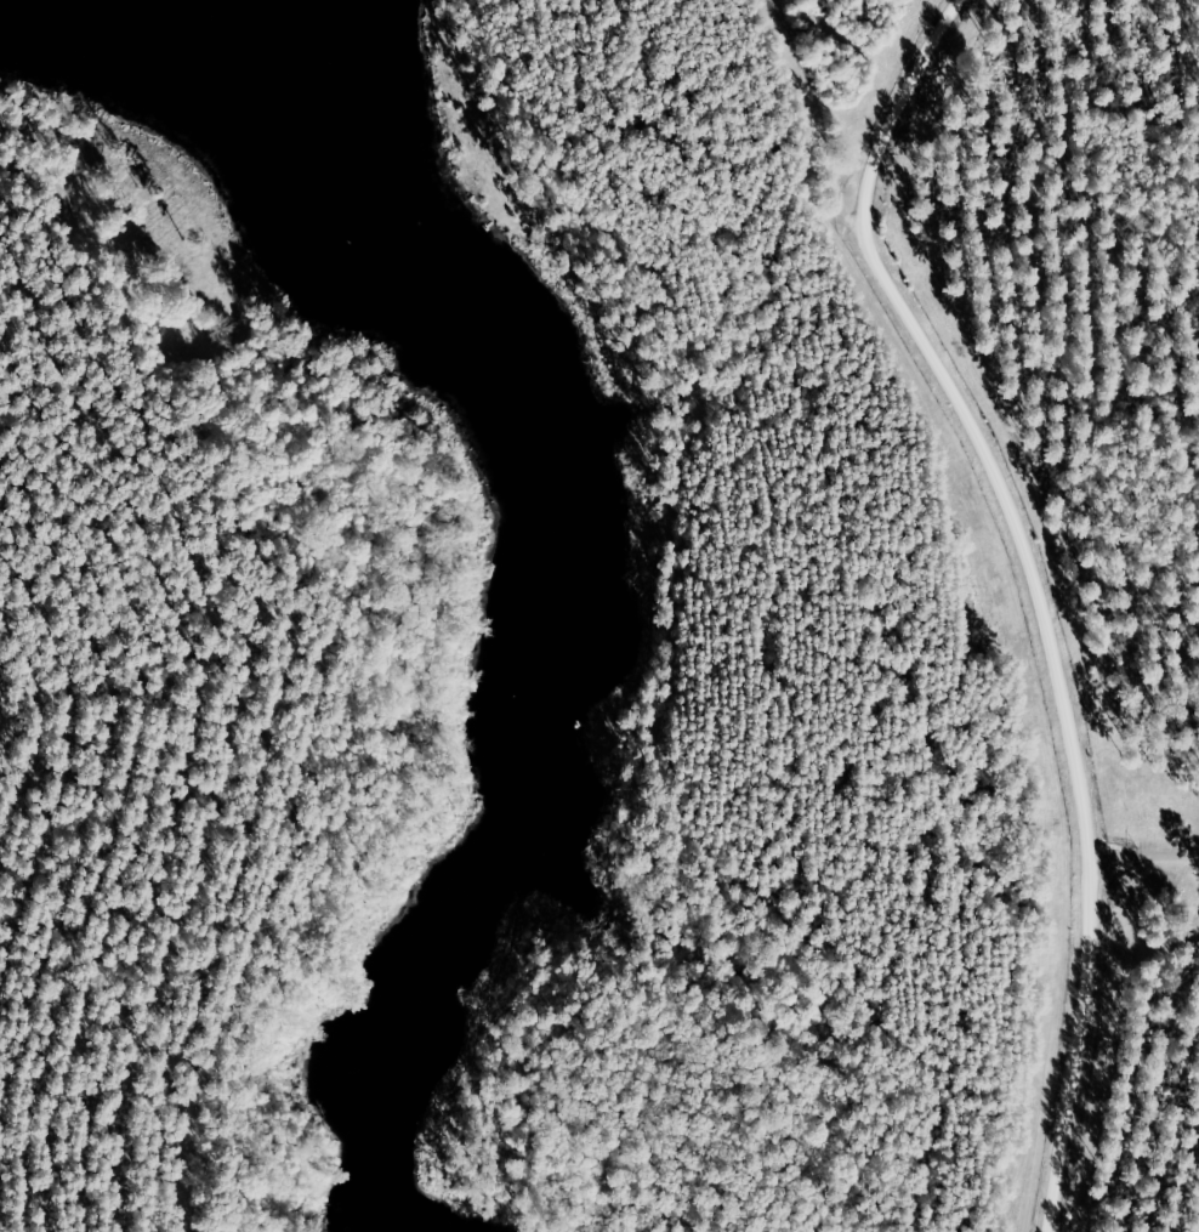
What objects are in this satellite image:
road: (857, 221)
road: (1091, 700)
road: (1159, 852)

